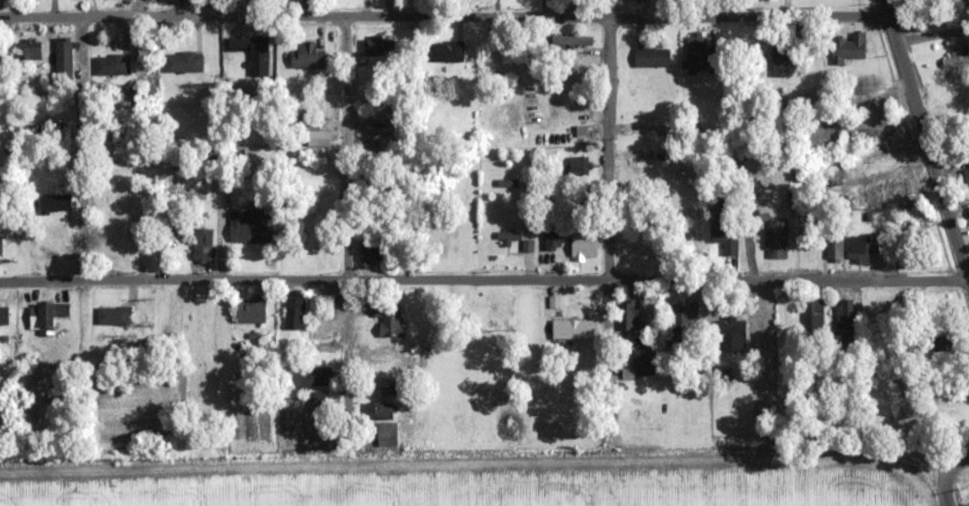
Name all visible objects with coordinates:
road: (444, 14)
building: (919, 26)
road: (932, 34)
building: (576, 40)
building: (378, 45)
building: (848, 48)
building: (29, 49)
building: (447, 52)
building: (252, 53)
building: (696, 53)
building: (63, 56)
building: (306, 57)
building: (651, 58)
building: (781, 62)
building: (183, 63)
building: (110, 65)
building: (641, 130)
building: (886, 133)
building: (572, 135)
road: (926, 143)
road: (78, 148)
building: (641, 158)
building: (579, 166)
building: (887, 191)
building: (55, 204)
building: (968, 212)
building: (720, 220)
building: (250, 226)
building: (508, 236)
building: (552, 237)
road: (608, 239)
building: (775, 239)
road: (348, 241)
building: (584, 244)
building: (202, 246)
building: (834, 246)
building: (0, 247)
building: (370, 251)
road: (482, 279)
building: (250, 311)
building: (293, 313)
building: (681, 313)
building: (3, 315)
building: (629, 315)
building: (112, 316)
building: (45, 317)
building: (389, 320)
building: (572, 329)
building: (731, 335)
building: (843, 347)
building: (641, 364)
building: (315, 377)
building: (384, 387)
building: (379, 411)
building: (383, 434)
road: (476, 464)
road: (948, 476)

